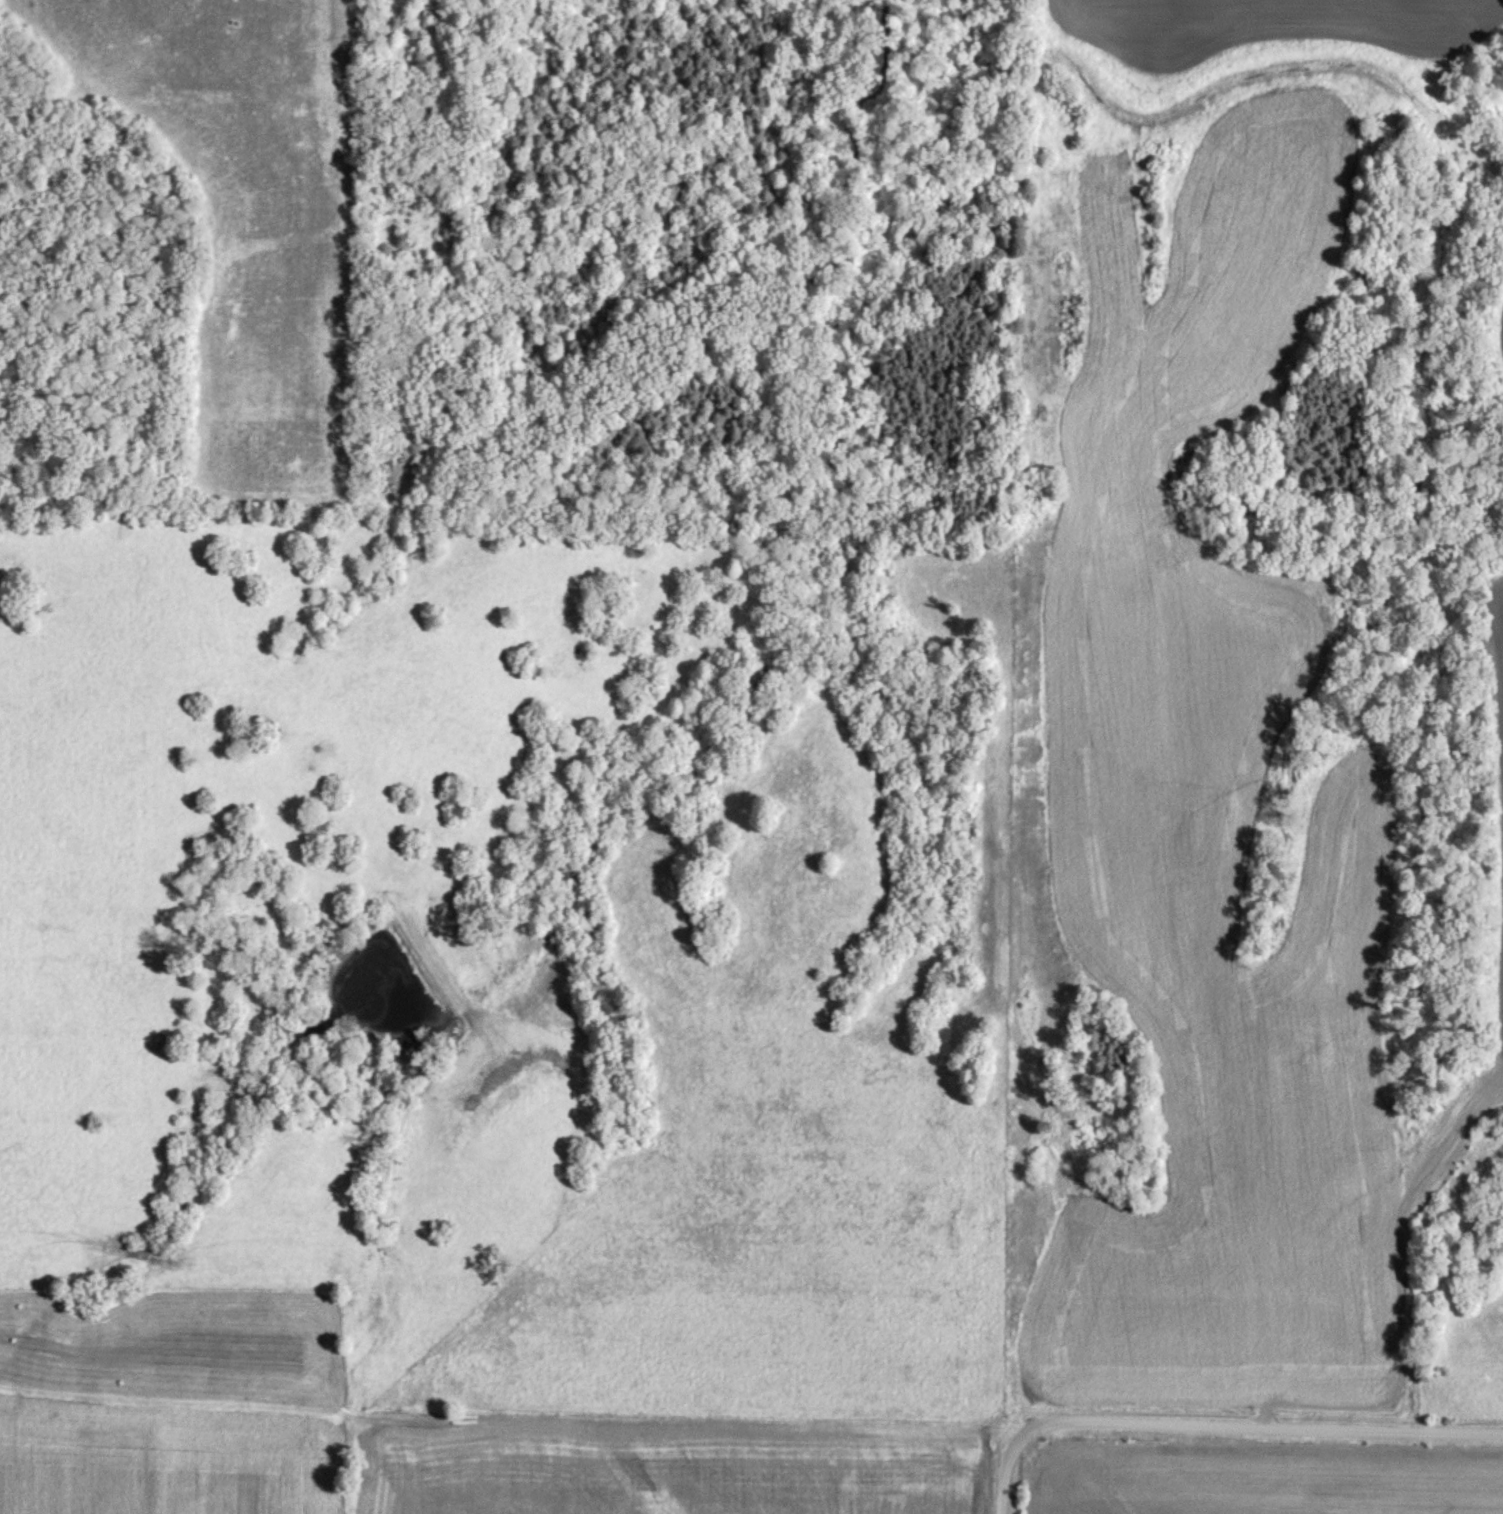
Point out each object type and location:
road: (1220, 1424)

